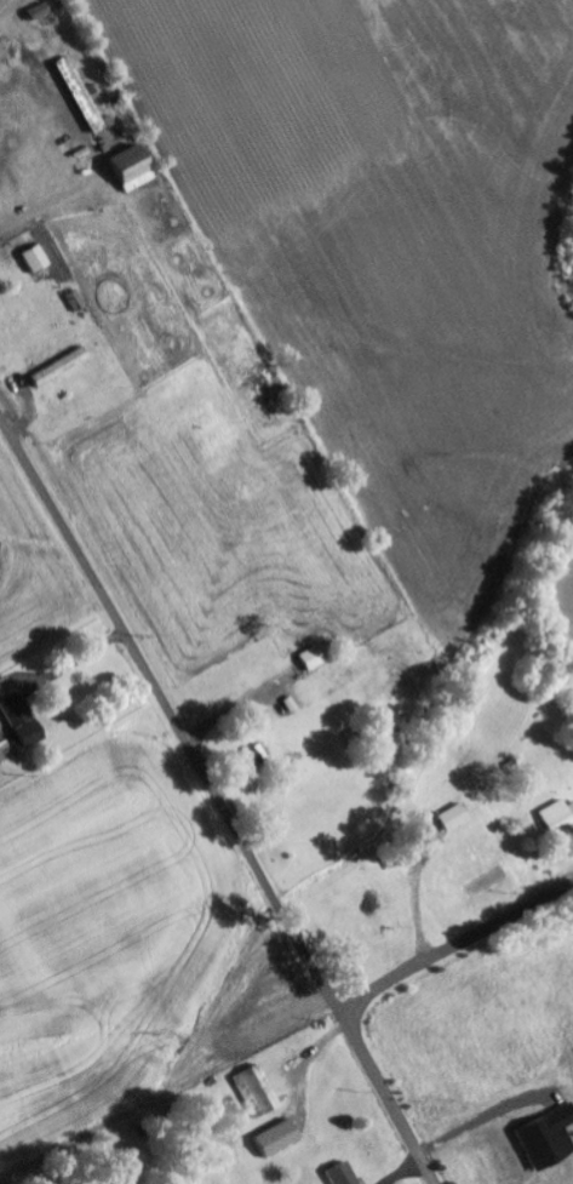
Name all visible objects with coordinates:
building: (45, 7)
building: (80, 91)
building: (134, 167)
building: (38, 258)
building: (62, 366)
building: (314, 658)
building: (7, 686)
road: (172, 711)
building: (24, 720)
building: (256, 759)
building: (558, 817)
building: (458, 818)
road: (457, 948)
building: (259, 1092)
road: (391, 1098)
building: (280, 1138)
building: (550, 1138)
building: (344, 1174)

